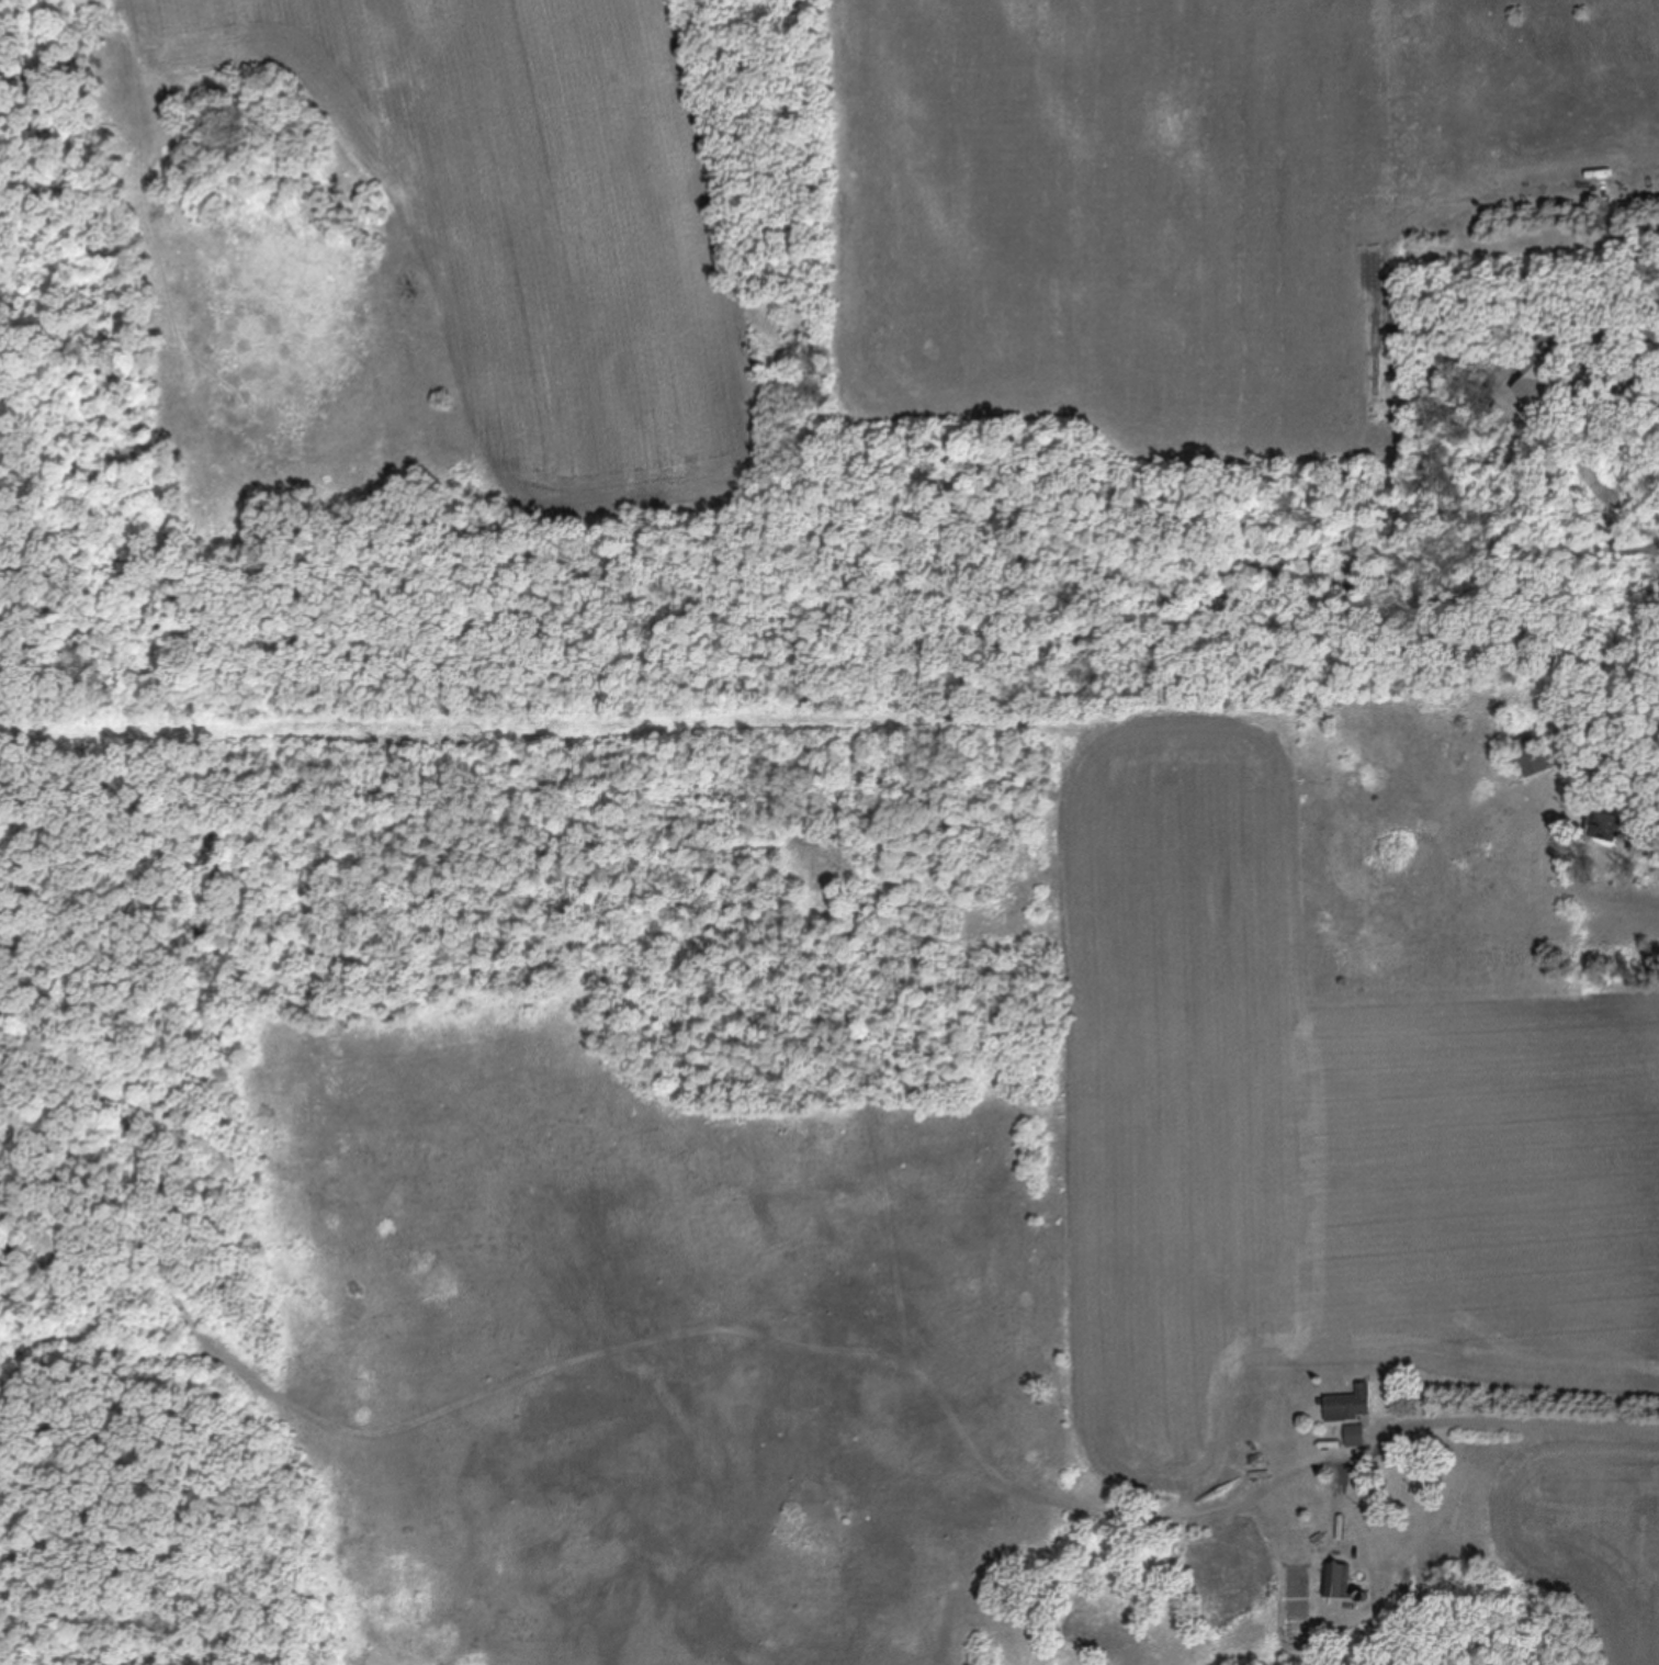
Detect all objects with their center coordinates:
building: (1534, 383)
building: (1531, 756)
building: (1603, 826)
building: (1350, 1406)
road: (1548, 1436)
building: (1356, 1437)
building: (1336, 1582)

